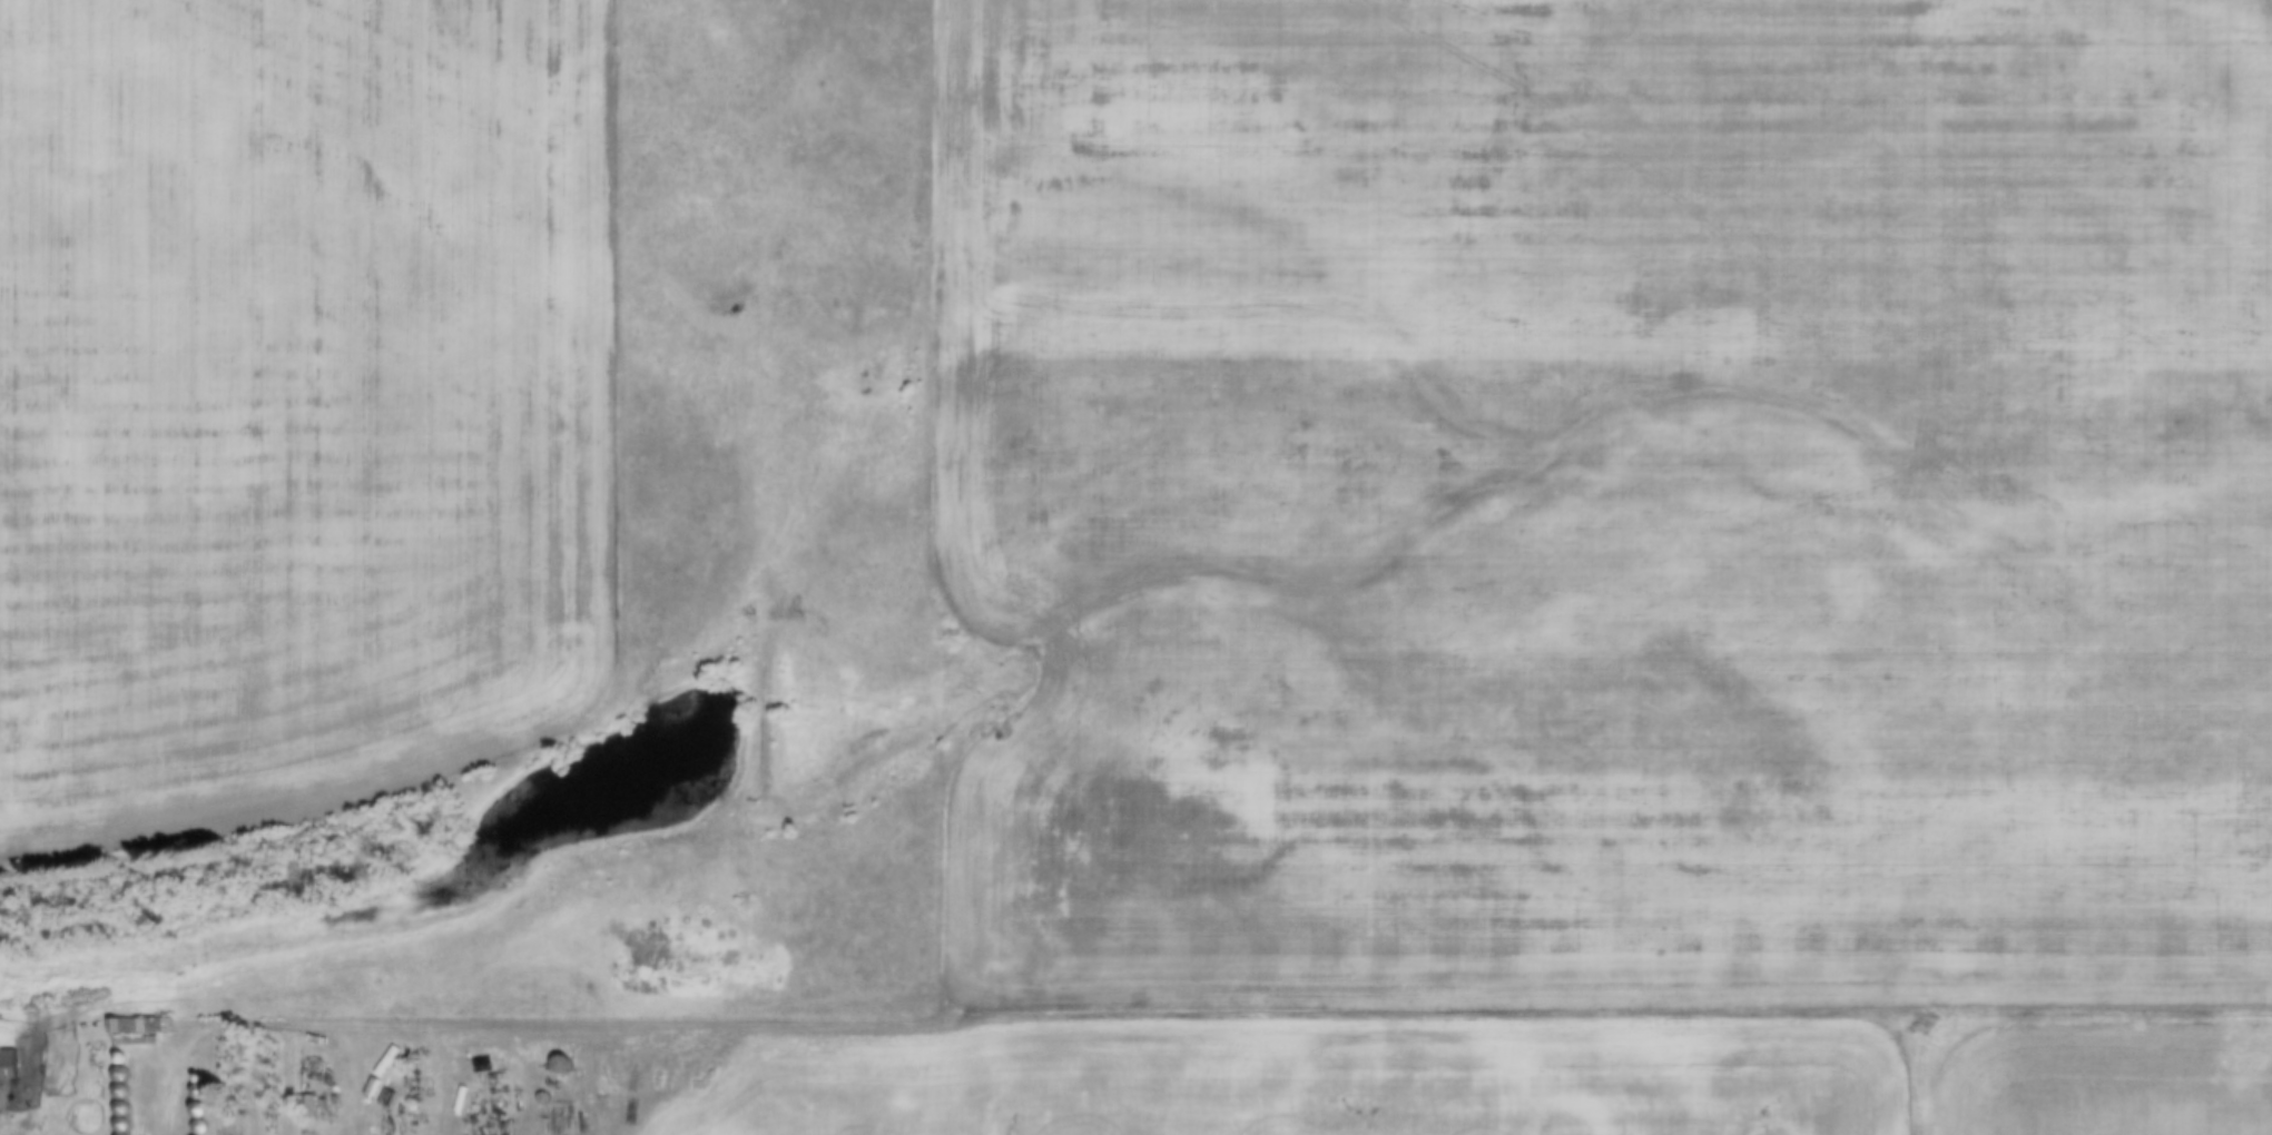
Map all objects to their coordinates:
building: (142, 1025)
building: (136, 1040)
building: (563, 1064)
building: (200, 1111)

